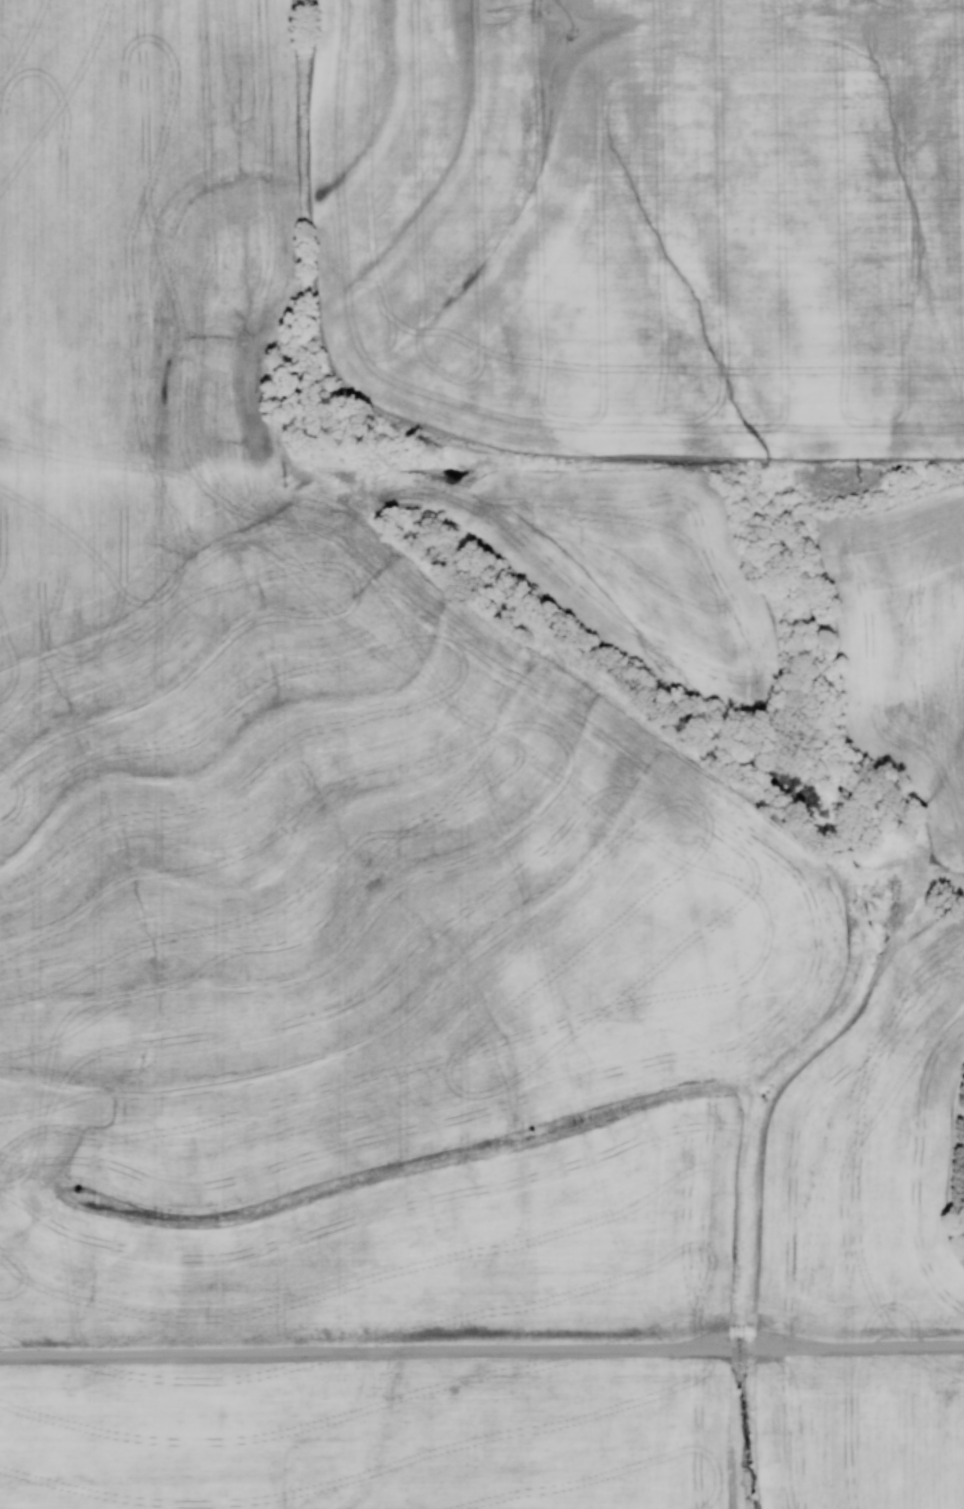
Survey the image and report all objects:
power tower: (860, 477)
power tower: (287, 480)

